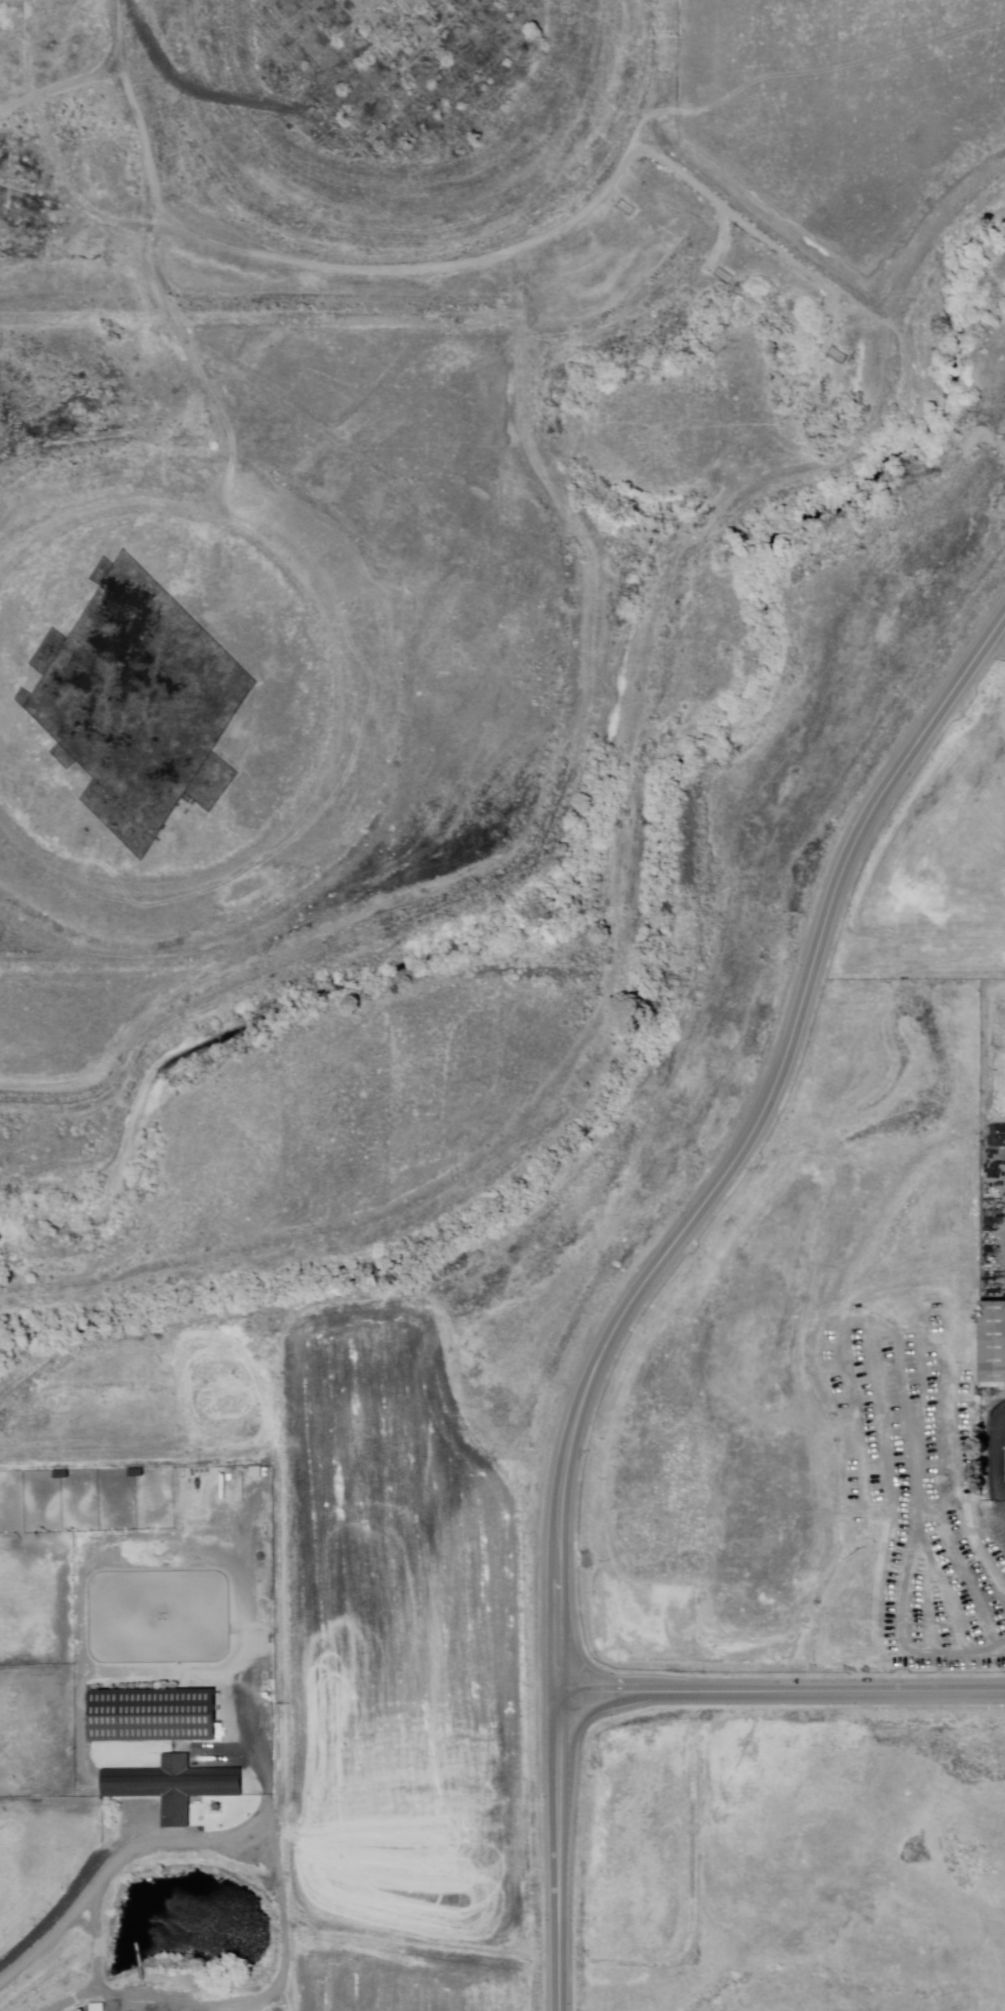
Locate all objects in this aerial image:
airport: (937, 857)
building: (996, 1095)
building: (1003, 1099)
road: (647, 1273)
building: (994, 1340)
crop: (400, 1674)
road: (781, 1691)
building: (154, 1716)
crop: (38, 1740)
building: (174, 1786)
crop: (791, 1859)
building: (78, 1918)
road: (66, 1920)
building: (98, 2007)

